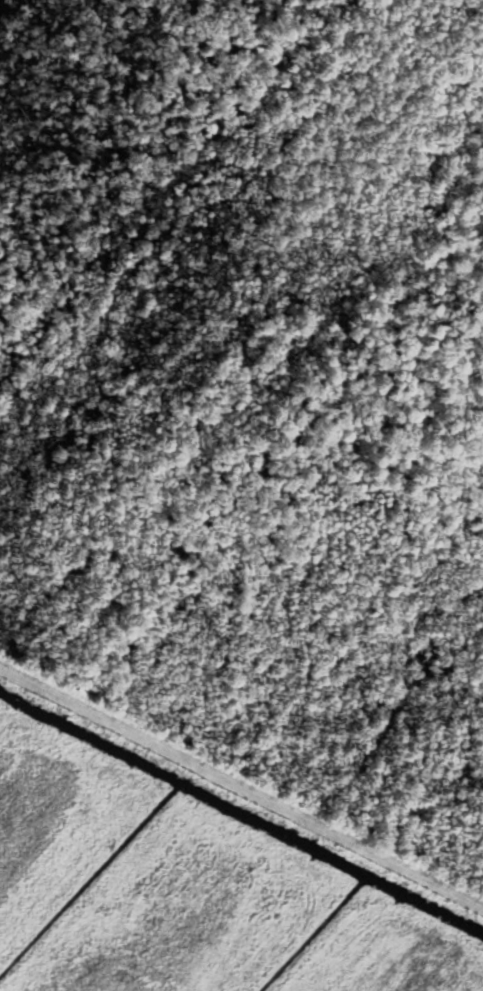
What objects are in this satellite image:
road: (241, 789)

